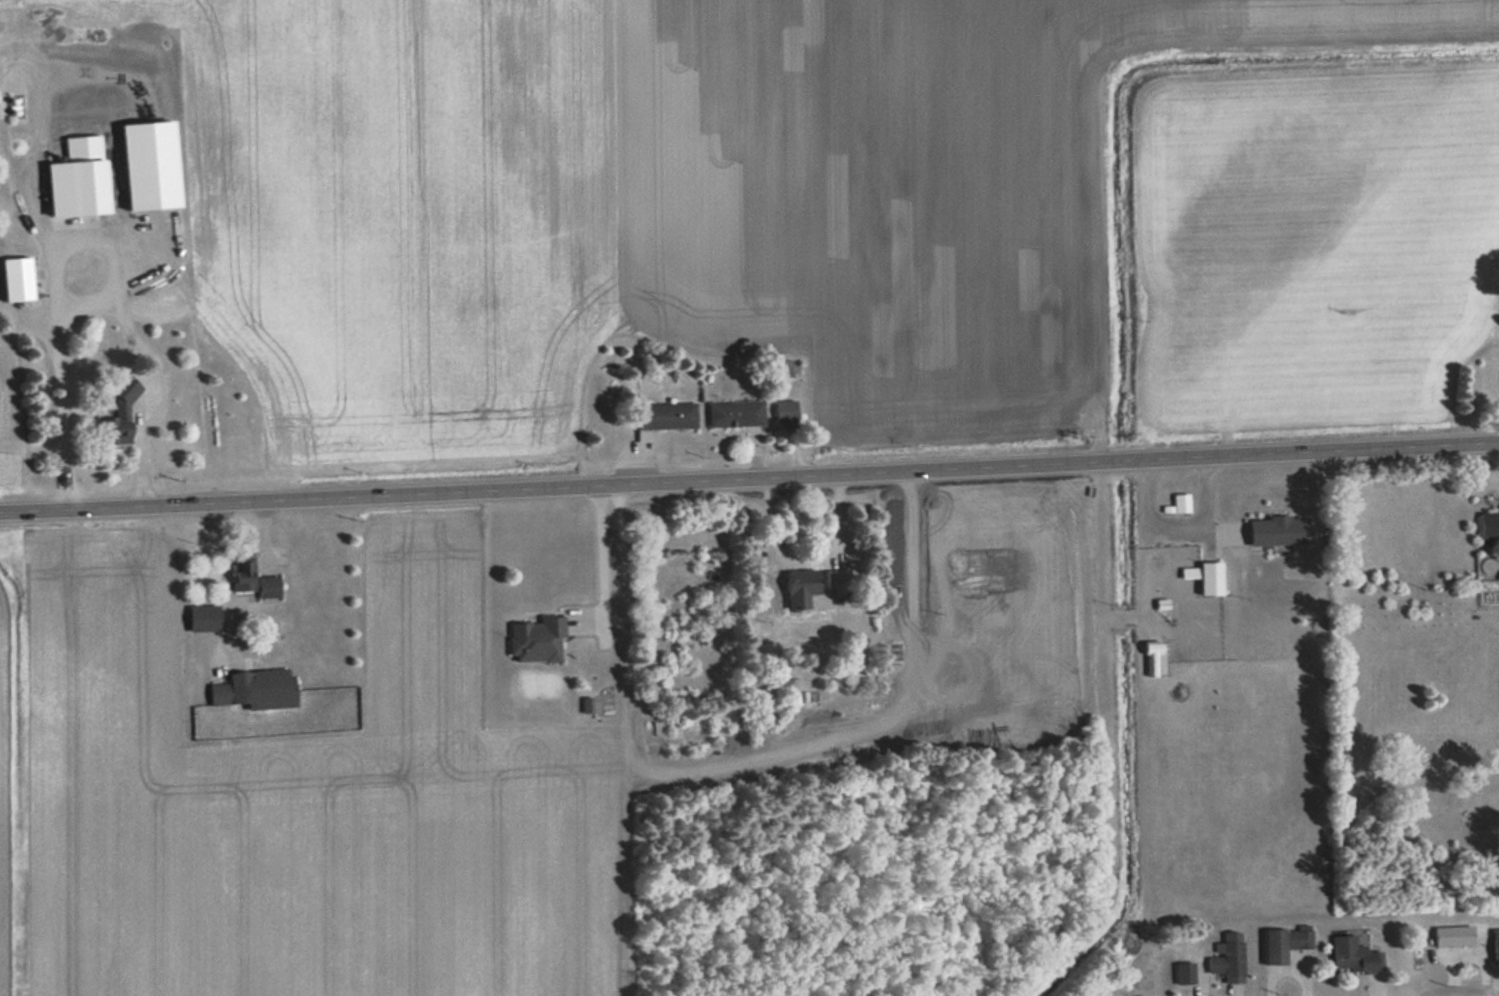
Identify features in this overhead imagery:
building: (98, 177)
building: (147, 255)
building: (13, 279)
building: (783, 410)
building: (733, 412)
building: (664, 415)
building: (112, 427)
road: (1453, 442)
road: (703, 476)
building: (1179, 502)
building: (1488, 527)
building: (1259, 531)
building: (249, 578)
building: (835, 578)
building: (1207, 578)
building: (795, 588)
building: (199, 617)
building: (533, 639)
building: (1153, 659)
building: (251, 689)
building: (1450, 935)
building: (1281, 942)
building: (1494, 944)
building: (1351, 954)
building: (1227, 957)
building: (1182, 972)

